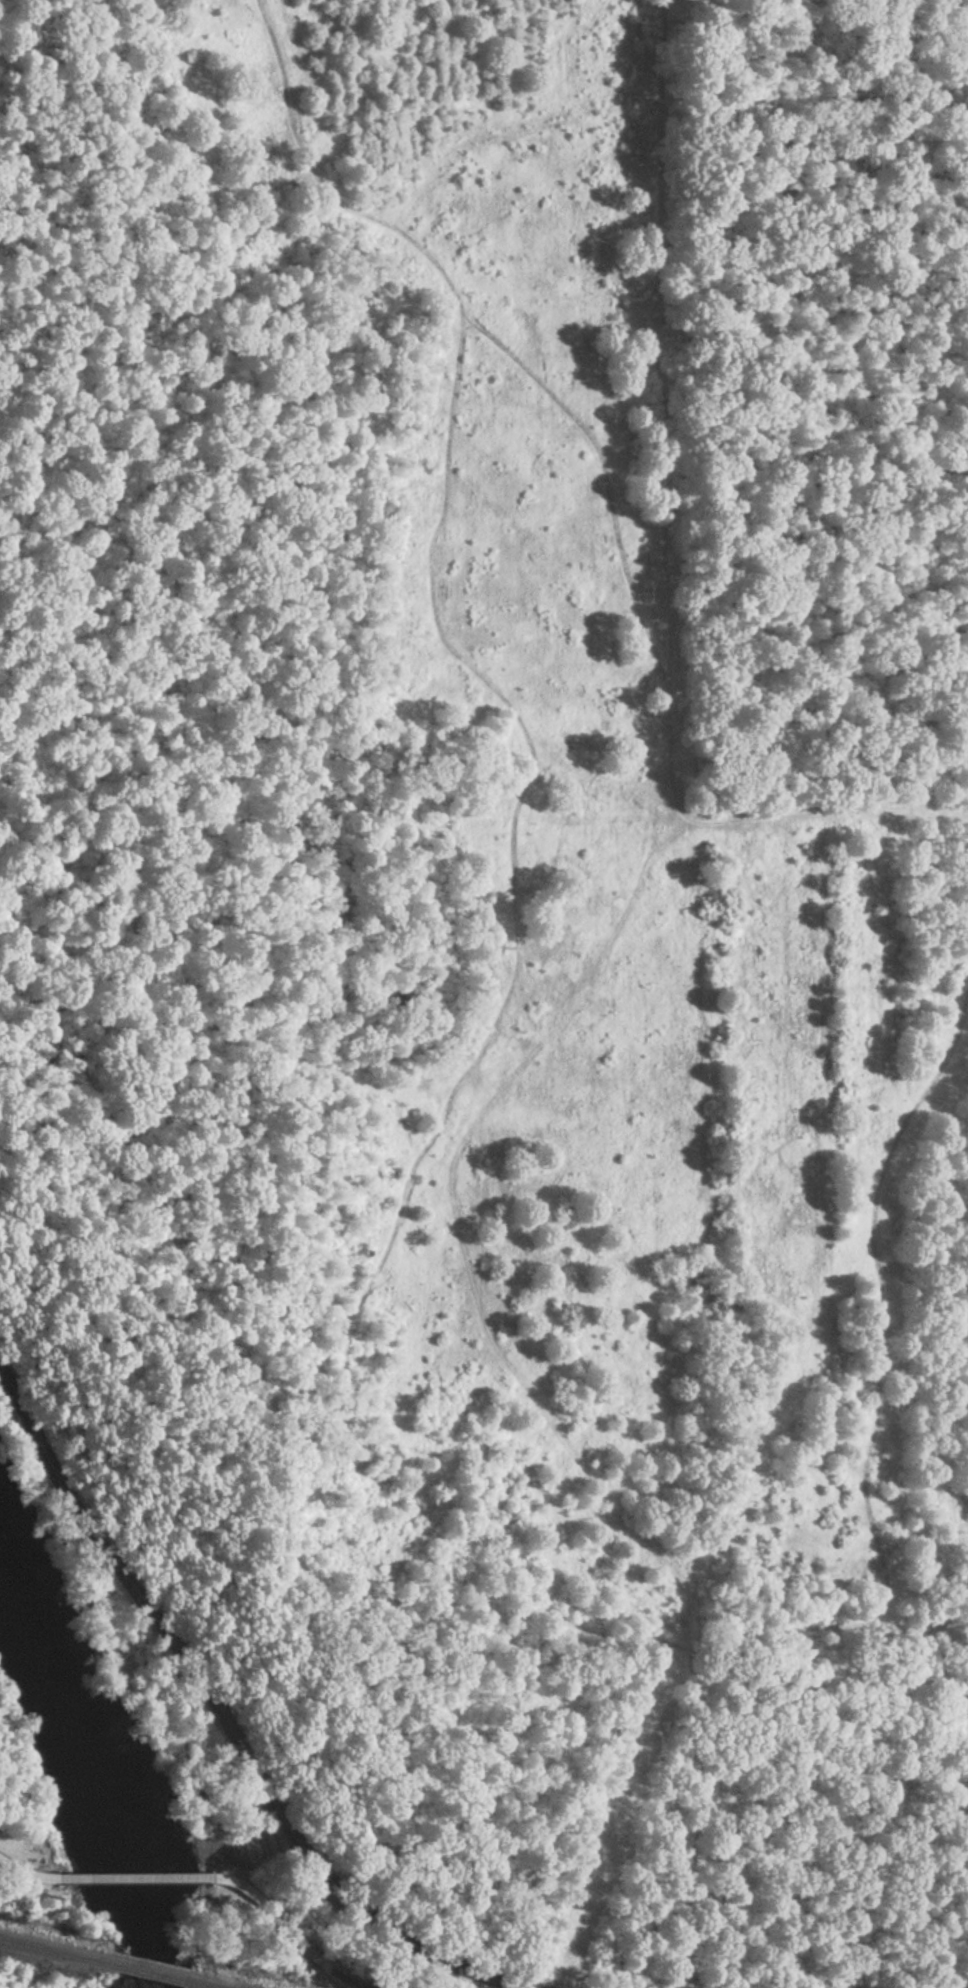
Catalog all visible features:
road: (820, 811)
road: (228, 1719)
park: (110, 1745)
river: (85, 1772)
road: (28, 1872)
road: (137, 1878)
road: (293, 1934)
railway: (46, 1954)
railway: (135, 1974)
railway: (187, 1986)

